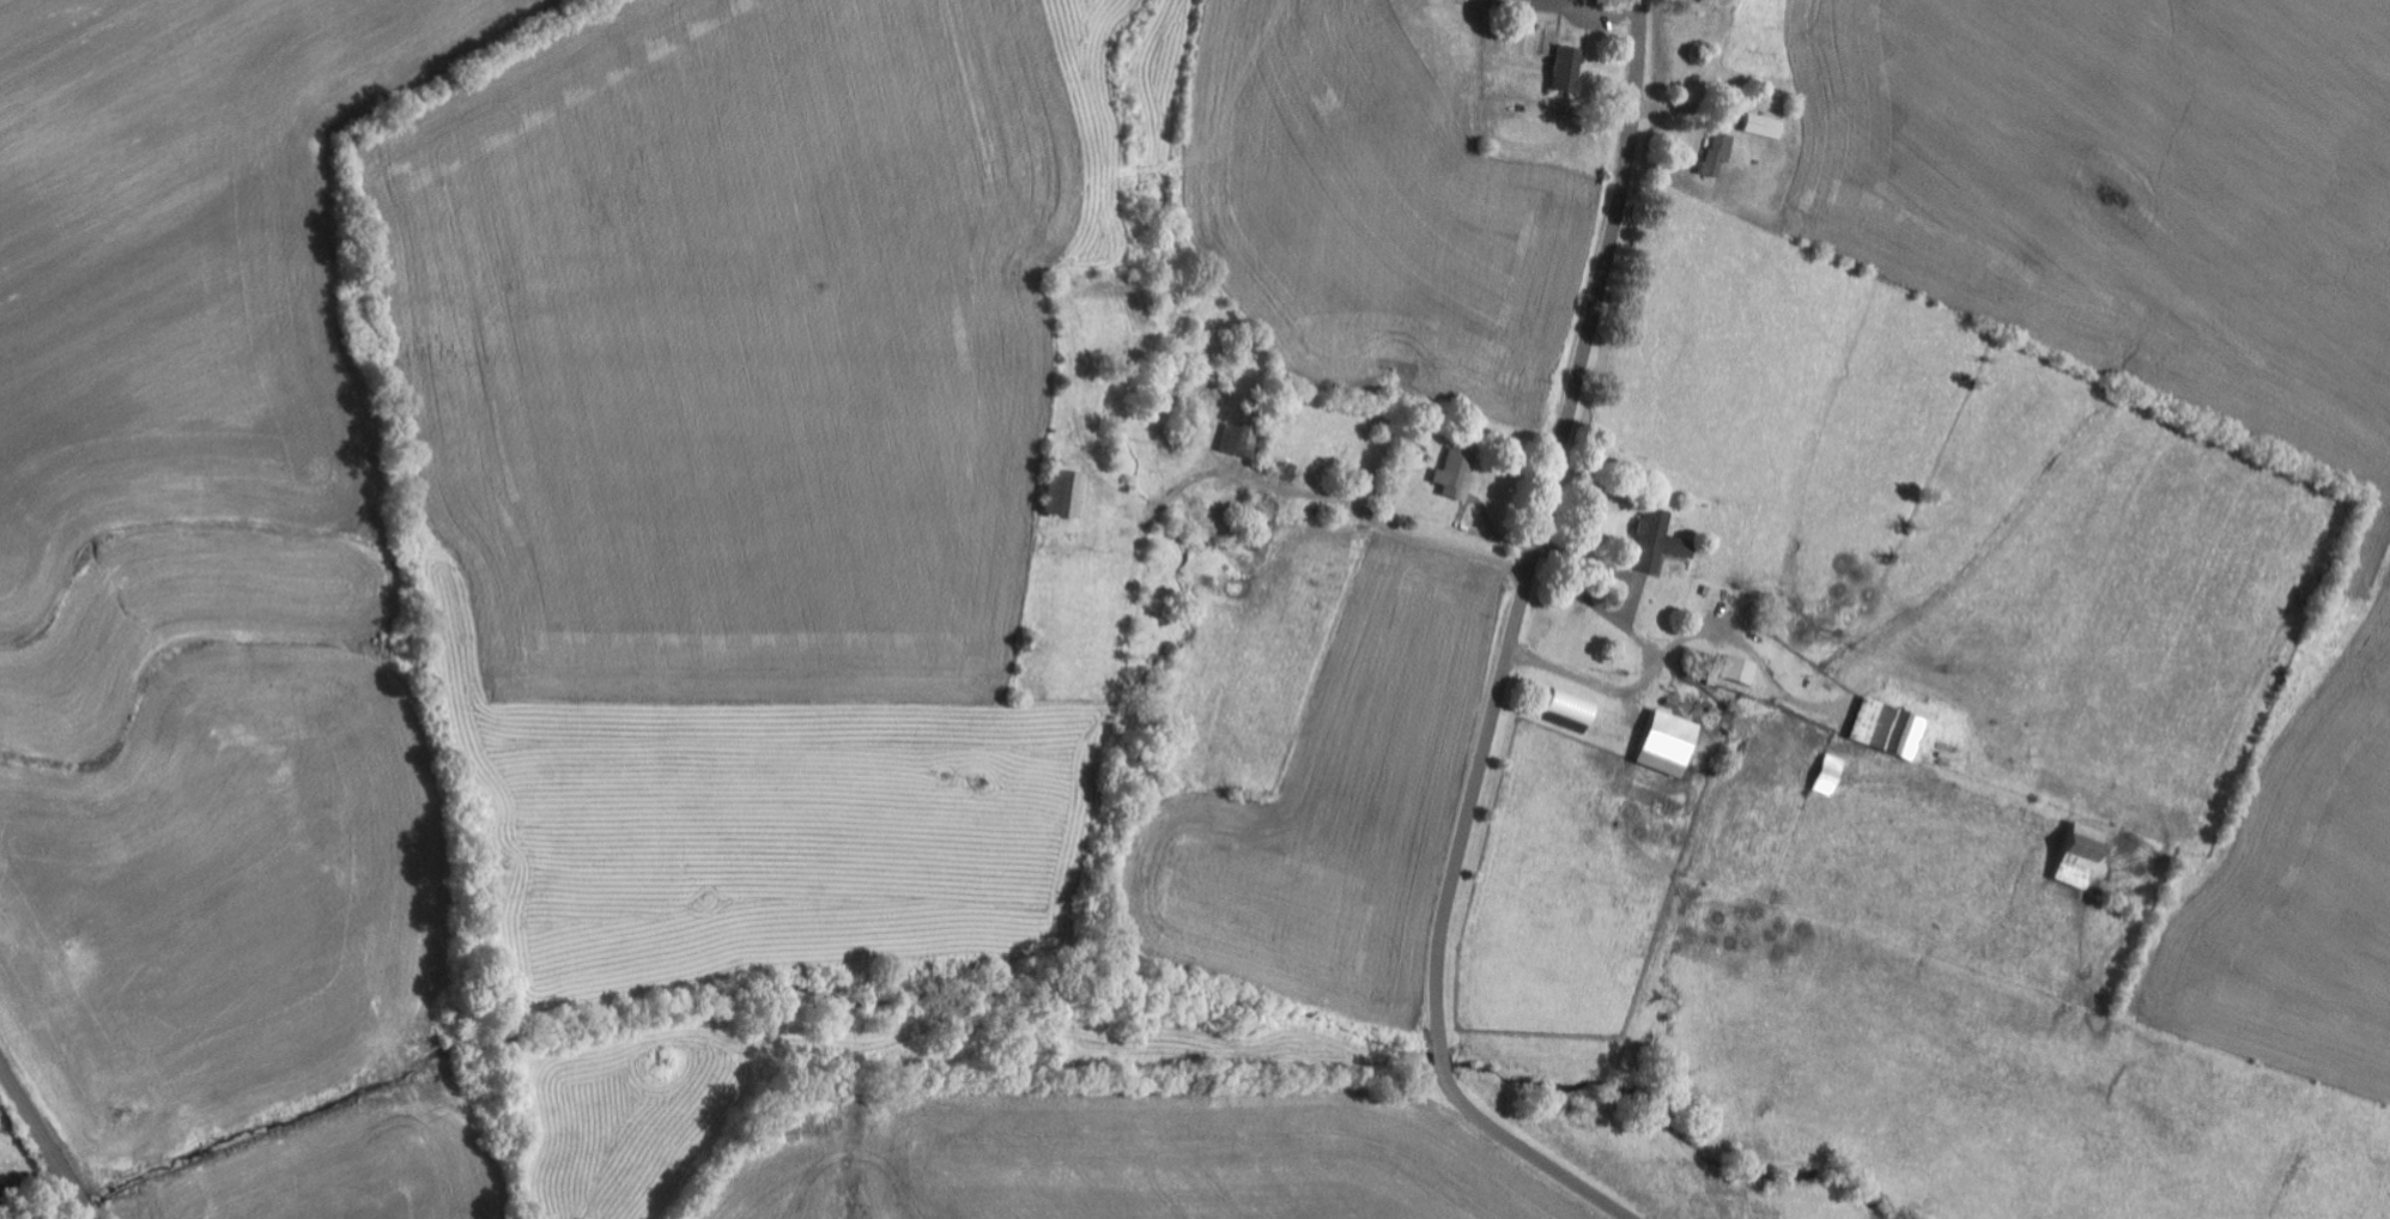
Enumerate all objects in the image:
building: (1567, 71)
building: (1717, 157)
building: (1243, 442)
building: (1456, 474)
building: (1062, 493)
building: (1658, 542)
road: (1511, 651)
building: (1739, 671)
building: (1888, 729)
building: (1668, 744)
building: (2080, 856)
road: (44, 1141)

